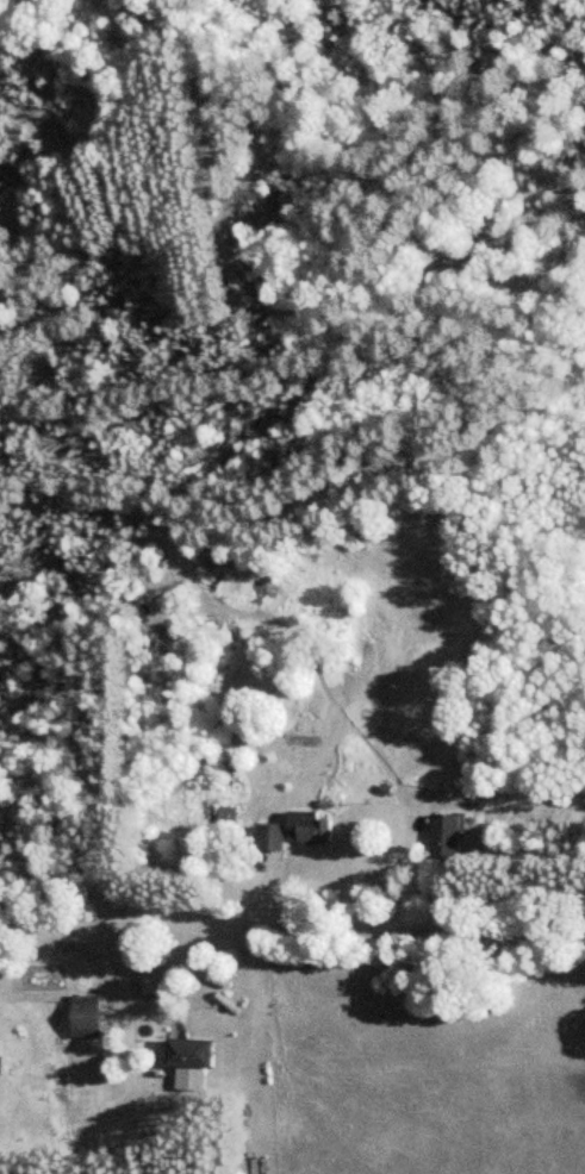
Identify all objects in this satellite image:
building: (226, 814)
building: (310, 826)
building: (450, 833)
building: (272, 836)
road: (61, 916)
road: (353, 924)
building: (88, 1014)
building: (189, 1060)

